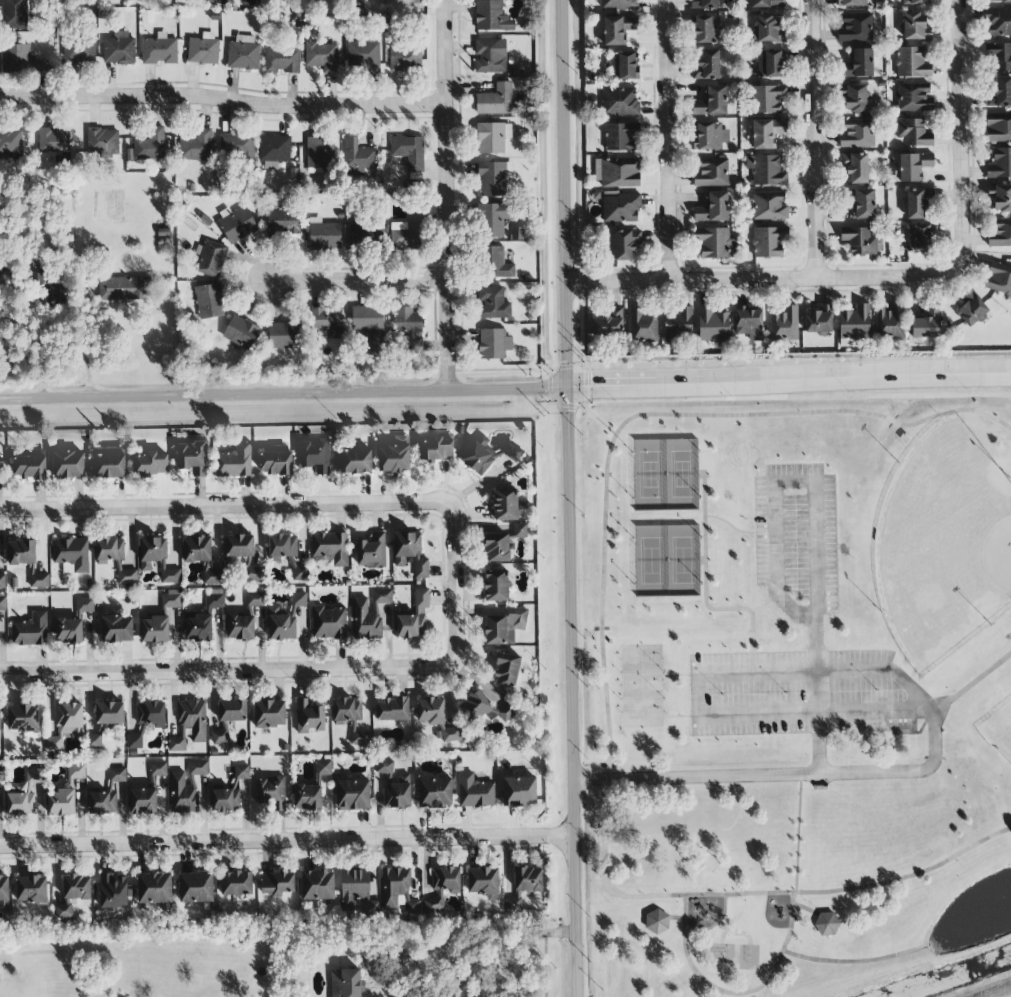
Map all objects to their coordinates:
building: (1000, 0)
building: (226, 2)
building: (915, 2)
building: (766, 3)
building: (851, 3)
building: (618, 4)
building: (704, 4)
building: (492, 16)
building: (998, 21)
building: (855, 27)
building: (915, 27)
building: (617, 29)
building: (706, 29)
building: (768, 29)
building: (118, 49)
building: (159, 49)
building: (203, 49)
building: (78, 52)
building: (243, 52)
building: (999, 54)
building: (490, 55)
building: (321, 56)
building: (363, 56)
building: (15, 58)
building: (405, 58)
building: (281, 60)
building: (912, 62)
building: (770, 64)
building: (859, 64)
building: (707, 65)
building: (40, 66)
building: (621, 66)
building: (1000, 92)
building: (856, 97)
building: (914, 97)
building: (767, 98)
road: (224, 100)
building: (495, 100)
building: (618, 101)
building: (711, 102)
building: (998, 127)
building: (767, 132)
building: (913, 132)
building: (857, 133)
road: (959, 134)
building: (621, 136)
building: (709, 136)
building: (492, 137)
road: (812, 139)
building: (53, 140)
road: (666, 140)
building: (102, 141)
building: (11, 144)
building: (149, 145)
building: (196, 146)
building: (236, 146)
building: (274, 149)
building: (408, 151)
building: (319, 153)
building: (357, 157)
building: (1000, 163)
building: (914, 166)
building: (855, 167)
building: (766, 170)
building: (711, 171)
building: (617, 172)
building: (494, 178)
road: (450, 194)
building: (1000, 197)
building: (863, 203)
building: (915, 203)
building: (769, 205)
building: (621, 208)
building: (713, 208)
building: (494, 221)
building: (283, 222)
building: (237, 224)
building: (999, 232)
building: (408, 234)
building: (324, 235)
building: (365, 236)
building: (918, 238)
building: (859, 240)
building: (769, 241)
building: (715, 242)
building: (622, 243)
building: (211, 258)
building: (498, 263)
building: (999, 278)
road: (762, 279)
road: (361, 281)
building: (124, 288)
building: (56, 293)
building: (209, 301)
building: (493, 303)
building: (971, 308)
building: (407, 320)
building: (819, 320)
building: (889, 321)
building: (327, 322)
building: (608, 323)
building: (748, 323)
building: (855, 323)
building: (641, 324)
building: (927, 324)
building: (679, 325)
building: (712, 325)
building: (784, 325)
building: (369, 328)
building: (240, 332)
building: (284, 335)
building: (493, 344)
road: (82, 349)
road: (790, 383)
road: (284, 393)
building: (437, 449)
building: (39, 451)
building: (488, 454)
building: (315, 456)
building: (192, 458)
building: (234, 461)
building: (356, 461)
building: (109, 462)
building: (1, 463)
building: (276, 463)
building: (68, 464)
building: (150, 464)
building: (29, 467)
park: (659, 475)
road: (780, 479)
road: (572, 498)
road: (223, 504)
building: (505, 504)
building: (519, 530)
parking lot: (797, 538)
building: (239, 546)
building: (497, 547)
road: (604, 547)
building: (110, 548)
building: (196, 549)
building: (329, 549)
building: (371, 551)
building: (22, 552)
building: (410, 553)
building: (286, 554)
building: (71, 555)
building: (157, 558)
park: (662, 560)
park: (952, 571)
building: (253, 575)
building: (213, 577)
building: (39, 580)
road: (454, 580)
building: (2, 581)
building: (496, 585)
building: (171, 598)
building: (214, 598)
building: (255, 598)
building: (422, 598)
building: (299, 599)
building: (2, 603)
building: (85, 604)
building: (369, 614)
building: (282, 623)
building: (328, 623)
building: (410, 624)
building: (504, 624)
building: (198, 626)
building: (240, 627)
building: (116, 629)
building: (155, 629)
building: (31, 630)
building: (68, 631)
road: (227, 669)
building: (506, 670)
road: (697, 680)
park: (793, 682)
park: (636, 687)
parking lot: (802, 693)
road: (817, 695)
building: (392, 709)
building: (483, 709)
building: (232, 710)
building: (430, 711)
building: (109, 713)
building: (151, 713)
building: (269, 713)
building: (0, 716)
building: (309, 717)
building: (23, 718)
building: (351, 718)
building: (193, 719)
building: (66, 724)
building: (220, 734)
building: (450, 734)
building: (136, 739)
building: (94, 741)
building: (176, 744)
road: (936, 751)
building: (384, 766)
building: (323, 767)
building: (158, 769)
building: (241, 772)
building: (1, 774)
building: (117, 775)
road: (747, 776)
building: (186, 787)
building: (475, 791)
building: (519, 791)
building: (271, 792)
building: (435, 792)
building: (353, 794)
building: (398, 794)
building: (23, 795)
building: (307, 797)
building: (103, 800)
building: (225, 800)
building: (61, 802)
road: (798, 834)
road: (290, 839)
road: (907, 876)
building: (527, 879)
building: (483, 882)
building: (236, 883)
building: (277, 884)
building: (395, 884)
building: (317, 885)
building: (76, 886)
building: (196, 887)
building: (154, 888)
building: (31, 889)
building: (113, 891)
building: (4, 892)
building: (514, 902)
building: (65, 909)
building: (656, 921)
building: (826, 923)
road: (505, 949)
road: (685, 950)
road: (857, 961)
road: (777, 965)
building: (344, 983)
road: (402, 994)

